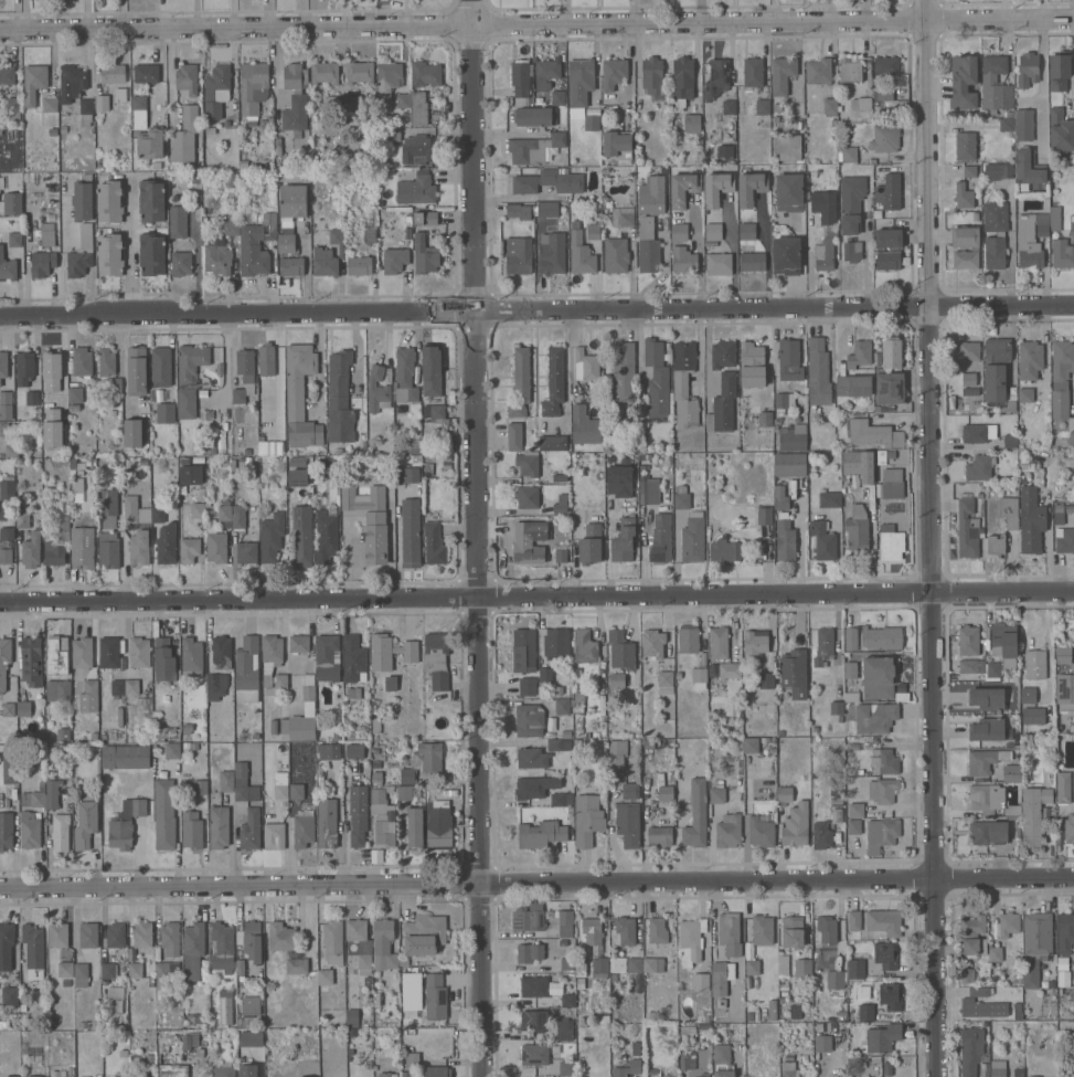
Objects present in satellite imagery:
road: (1041, 9)
road: (632, 11)
road: (700, 11)
road: (565, 12)
road: (267, 13)
road: (536, 24)
building: (886, 66)
building: (1028, 70)
building: (818, 71)
building: (850, 71)
building: (1060, 71)
building: (360, 72)
building: (753, 72)
building: (113, 73)
building: (146, 73)
building: (325, 73)
building: (614, 73)
building: (7, 74)
building: (390, 74)
building: (546, 74)
building: (783, 74)
building: (427, 75)
building: (295, 76)
building: (652, 77)
building: (188, 78)
building: (716, 78)
building: (521, 81)
building: (34, 82)
building: (682, 82)
building: (964, 82)
building: (72, 83)
building: (996, 84)
road: (1042, 84)
building: (254, 86)
building: (216, 91)
building: (582, 91)
building: (328, 92)
building: (885, 93)
building: (120, 94)
building: (559, 97)
building: (403, 101)
building: (332, 102)
building: (102, 103)
building: (139, 103)
building: (353, 103)
building: (50, 104)
building: (860, 104)
building: (830, 106)
building: (729, 107)
building: (763, 107)
building: (14, 108)
building: (418, 108)
building: (86, 112)
building: (294, 115)
building: (534, 116)
building: (875, 116)
building: (776, 119)
building: (226, 123)
building: (253, 123)
building: (692, 123)
building: (834, 123)
building: (1007, 123)
building: (383, 124)
building: (1024, 125)
building: (63, 128)
building: (210, 130)
building: (727, 130)
building: (1061, 130)
building: (185, 135)
building: (389, 135)
building: (885, 139)
building: (150, 142)
building: (618, 146)
building: (965, 146)
building: (788, 147)
building: (533, 148)
building: (418, 149)
building: (847, 156)
building: (198, 167)
building: (1029, 169)
building: (626, 171)
building: (970, 171)
building: (998, 171)
building: (219, 175)
building: (195, 177)
building: (550, 181)
building: (751, 187)
building: (717, 188)
building: (416, 189)
building: (683, 189)
building: (891, 190)
building: (789, 192)
building: (964, 196)
building: (83, 198)
building: (151, 200)
building: (110, 201)
building: (293, 201)
building: (13, 203)
building: (851, 203)
building: (547, 209)
building: (206, 210)
building: (828, 210)
building: (519, 211)
building: (623, 217)
building: (976, 217)
building: (408, 218)
building: (425, 218)
building: (1055, 218)
building: (179, 221)
building: (649, 222)
building: (1042, 224)
building: (269, 225)
building: (1072, 225)
building: (230, 228)
building: (713, 231)
building: (747, 231)
building: (594, 232)
building: (679, 232)
building: (47, 234)
building: (86, 234)
building: (1000, 234)
building: (336, 235)
building: (889, 237)
building: (15, 239)
building: (286, 243)
building: (1028, 243)
building: (975, 249)
building: (826, 250)
building: (852, 251)
road: (131, 252)
building: (253, 252)
building: (581, 252)
road: (699, 253)
road: (733, 253)
building: (1062, 253)
building: (110, 254)
building: (152, 254)
building: (553, 254)
building: (425, 255)
building: (519, 255)
building: (616, 255)
building: (786, 255)
building: (217, 258)
building: (395, 260)
building: (683, 260)
building: (887, 261)
building: (325, 262)
building: (753, 262)
building: (42, 263)
building: (78, 263)
building: (181, 263)
building: (719, 264)
building: (7, 265)
building: (293, 265)
building: (360, 265)
road: (306, 270)
road: (536, 312)
building: (653, 351)
building: (892, 351)
building: (267, 352)
building: (967, 352)
building: (723, 353)
building: (859, 353)
building: (1030, 359)
building: (51, 360)
building: (789, 360)
building: (82, 361)
building: (107, 361)
building: (3, 365)
building: (161, 366)
building: (586, 366)
building: (752, 366)
building: (24, 368)
building: (137, 369)
building: (220, 369)
building: (263, 371)
building: (430, 372)
building: (818, 372)
building: (997, 372)
building: (244, 374)
building: (1061, 377)
building: (190, 378)
building: (624, 378)
building: (969, 379)
building: (404, 380)
building: (554, 382)
building: (520, 383)
building: (116, 384)
building: (684, 384)
building: (854, 386)
building: (890, 388)
building: (378, 390)
building: (65, 392)
building: (75, 394)
building: (659, 394)
building: (1025, 394)
building: (300, 395)
building: (33, 398)
building: (340, 399)
building: (785, 399)
building: (723, 404)
building: (6, 405)
building: (60, 410)
building: (978, 410)
building: (434, 412)
building: (781, 412)
building: (166, 413)
building: (210, 414)
building: (765, 419)
building: (446, 421)
building: (35, 425)
building: (584, 425)
building: (3, 429)
building: (213, 431)
building: (132, 432)
building: (978, 432)
building: (873, 433)
building: (514, 436)
building: (791, 437)
building: (1071, 439)
building: (1010, 441)
building: (552, 442)
building: (279, 446)
building: (429, 446)
building: (408, 447)
building: (209, 450)
building: (338, 450)
building: (12, 451)
building: (370, 451)
building: (246, 453)
building: (446, 457)
building: (881, 458)
building: (118, 461)
building: (143, 461)
building: (224, 462)
building: (325, 462)
building: (102, 464)
building: (446, 464)
building: (528, 464)
building: (789, 464)
building: (860, 464)
building: (979, 467)
building: (191, 474)
building: (407, 474)
building: (298, 477)
building: (560, 477)
building: (619, 481)
building: (891, 484)
building: (7, 487)
building: (262, 492)
building: (649, 492)
building: (308, 495)
building: (528, 497)
building: (681, 497)
building: (781, 498)
building: (830, 498)
building: (561, 504)
building: (107, 508)
building: (1070, 508)
building: (198, 510)
building: (1009, 510)
building: (224, 511)
building: (2, 514)
building: (138, 514)
building: (1059, 514)
building: (158, 515)
building: (764, 515)
building: (238, 517)
building: (369, 518)
building: (23, 519)
building: (1031, 520)
building: (61, 525)
building: (967, 528)
building: (858, 529)
building: (7, 532)
building: (411, 532)
building: (327, 535)
building: (302, 536)
building: (272, 537)
building: (693, 537)
road: (476, 538)
road: (931, 538)
building: (661, 539)
building: (1064, 539)
building: (786, 540)
building: (823, 540)
building: (434, 542)
building: (891, 542)
building: (167, 543)
building: (215, 543)
building: (591, 543)
building: (996, 546)
building: (83, 547)
building: (139, 547)
building: (31, 548)
building: (108, 549)
building: (189, 549)
building: (528, 550)
building: (623, 550)
building: (724, 550)
building: (247, 551)
building: (54, 553)
building: (561, 555)
building: (6, 556)
road: (536, 600)
building: (882, 637)
building: (689, 638)
building: (851, 640)
building: (968, 640)
building: (554, 642)
building: (719, 642)
building: (755, 642)
building: (299, 643)
building: (653, 643)
building: (1003, 643)
building: (585, 646)
building: (825, 646)
building: (524, 647)
building: (221, 648)
building: (56, 650)
building: (620, 650)
building: (83, 652)
building: (109, 652)
building: (139, 652)
building: (391, 652)
building: (1063, 655)
building: (192, 656)
building: (328, 657)
building: (437, 658)
building: (164, 659)
building: (353, 659)
building: (4, 661)
building: (32, 661)
building: (273, 662)
building: (1035, 664)
building: (971, 665)
building: (850, 669)
building: (247, 671)
building: (730, 671)
building: (993, 671)
building: (794, 672)
building: (701, 674)
building: (546, 675)
building: (678, 675)
building: (879, 677)
building: (614, 679)
building: (766, 680)
building: (666, 682)
building: (391, 683)
building: (137, 686)
building: (217, 686)
building: (528, 686)
building: (118, 687)
building: (59, 689)
building: (559, 689)
building: (603, 690)
building: (1065, 691)
building: (351, 693)
building: (1028, 695)
building: (89, 696)
building: (851, 697)
building: (987, 698)
building: (578, 703)
building: (603, 704)
building: (848, 704)
building: (148, 707)
building: (563, 707)
building: (24, 708)
building: (373, 708)
building: (9, 709)
building: (837, 709)
building: (203, 711)
building: (305, 712)
building: (1033, 715)
building: (103, 716)
building: (875, 717)
building: (530, 720)
building: (579, 721)
building: (376, 725)
building: (716, 725)
building: (274, 726)
building: (285, 726)
building: (188, 727)
building: (815, 729)
building: (987, 729)
building: (579, 730)
building: (163, 732)
building: (781, 732)
building: (63, 733)
building: (337, 735)
building: (95, 736)
building: (255, 736)
building: (121, 739)
building: (577, 743)
building: (560, 745)
building: (656, 745)
building: (751, 745)
building: (187, 746)
building: (194, 746)
building: (1046, 746)
building: (172, 750)
building: (328, 751)
building: (354, 751)
building: (125, 757)
building: (617, 757)
building: (532, 758)
building: (423, 761)
building: (884, 761)
building: (986, 761)
building: (9, 764)
building: (376, 764)
building: (1012, 773)
building: (266, 774)
building: (376, 774)
building: (227, 781)
building: (42, 785)
building: (281, 785)
building: (201, 786)
building: (534, 786)
building: (1064, 786)
building: (269, 789)
building: (245, 790)
building: (883, 790)
building: (297, 791)
building: (630, 791)
building: (408, 792)
building: (717, 792)
building: (784, 792)
building: (53, 793)
building: (837, 796)
building: (68, 798)
building: (986, 798)
building: (33, 799)
building: (562, 800)
building: (1, 803)
building: (650, 803)
building: (857, 810)
building: (1011, 810)
building: (164, 814)
building: (1033, 814)
building: (358, 815)
building: (696, 815)
building: (837, 815)
building: (383, 819)
building: (587, 820)
building: (125, 823)
building: (327, 823)
building: (438, 823)
building: (86, 824)
building: (628, 824)
building: (796, 825)
building: (219, 826)
building: (415, 826)
building: (6, 830)
building: (30, 830)
building: (191, 830)
building: (251, 830)
building: (1070, 830)
building: (304, 831)
building: (729, 831)
building: (762, 831)
building: (61, 832)
building: (875, 832)
building: (989, 832)
building: (1060, 832)
building: (541, 834)
building: (274, 835)
building: (822, 835)
building: (660, 836)
road: (536, 883)
building: (549, 914)
building: (529, 918)
building: (854, 920)
building: (884, 921)
building: (565, 922)
building: (827, 928)
building: (762, 929)
building: (425, 930)
building: (658, 930)
building: (624, 931)
building: (593, 932)
building: (727, 932)
building: (793, 932)
building: (1065, 932)
building: (972, 933)
building: (1038, 933)
building: (59, 935)
building: (88, 935)
building: (116, 935)
building: (142, 935)
building: (1002, 936)
building: (281, 937)
building: (170, 938)
building: (251, 940)
building: (691, 941)
building: (361, 943)
building: (333, 944)
building: (6, 946)
building: (384, 946)
building: (222, 947)
building: (193, 949)
building: (34, 950)
building: (530, 952)
building: (885, 955)
building: (404, 962)
building: (1073, 963)
building: (566, 964)
building: (600, 964)
building: (617, 964)
building: (635, 964)
building: (783, 964)
building: (240, 967)
building: (753, 967)
building: (855, 967)
building: (302, 968)
building: (652, 968)
building: (802, 968)
building: (66, 969)
building: (167, 969)
building: (108, 970)
building: (136, 970)
building: (1031, 973)
building: (82, 974)
building: (968, 975)
building: (722, 976)
building: (242, 978)
building: (326, 978)
building: (834, 980)
building: (151, 981)
building: (368, 981)
building: (700, 981)
building: (534, 986)
building: (785, 986)
building: (568, 988)
building: (980, 991)
building: (411, 992)
building: (10, 995)
building: (435, 996)
building: (891, 996)
building: (378, 1000)
building: (567, 1000)
building: (721, 1002)
building: (774, 1002)
building: (251, 1005)
building: (24, 1006)
building: (225, 1006)
building: (982, 1009)
building: (1073, 1009)
building: (1018, 1011)
building: (795, 1012)
building: (866, 1012)
building: (352, 1015)
building: (602, 1018)
building: (199, 1020)
building: (534, 1021)
building: (245, 1022)
building: (4, 1024)
building: (704, 1025)
building: (564, 1030)
building: (688, 1030)
building: (352, 1032)
building: (134, 1034)
building: (106, 1037)
building: (883, 1037)
building: (251, 1038)
building: (190, 1041)
building: (822, 1043)
building: (636, 1048)
building: (38, 1049)
building: (30, 1050)
building: (971, 1050)
building: (124, 1052)
building: (200, 1052)
building: (722, 1053)
building: (534, 1054)
building: (30, 1057)
building: (39, 1057)
building: (290, 1057)
building: (412, 1059)
building: (150, 1060)
building: (688, 1060)
building: (171, 1064)
building: (998, 1066)
building: (224, 1068)
building: (567, 1068)
building: (627, 1068)
building: (887, 1068)
building: (71, 1069)
building: (247, 1069)
building: (790, 1069)
building: (1019, 1069)
building: (723, 1070)
building: (437, 1071)
building: (670, 1071)
building: (34, 1073)
building: (55, 1073)
building: (411, 1073)
building: (404, 1074)
building: (704, 1074)
building: (71, 1075)
building: (121, 1075)
building: (386, 1075)
building: (833, 1075)
building: (13, 1076)
building: (315, 1076)

